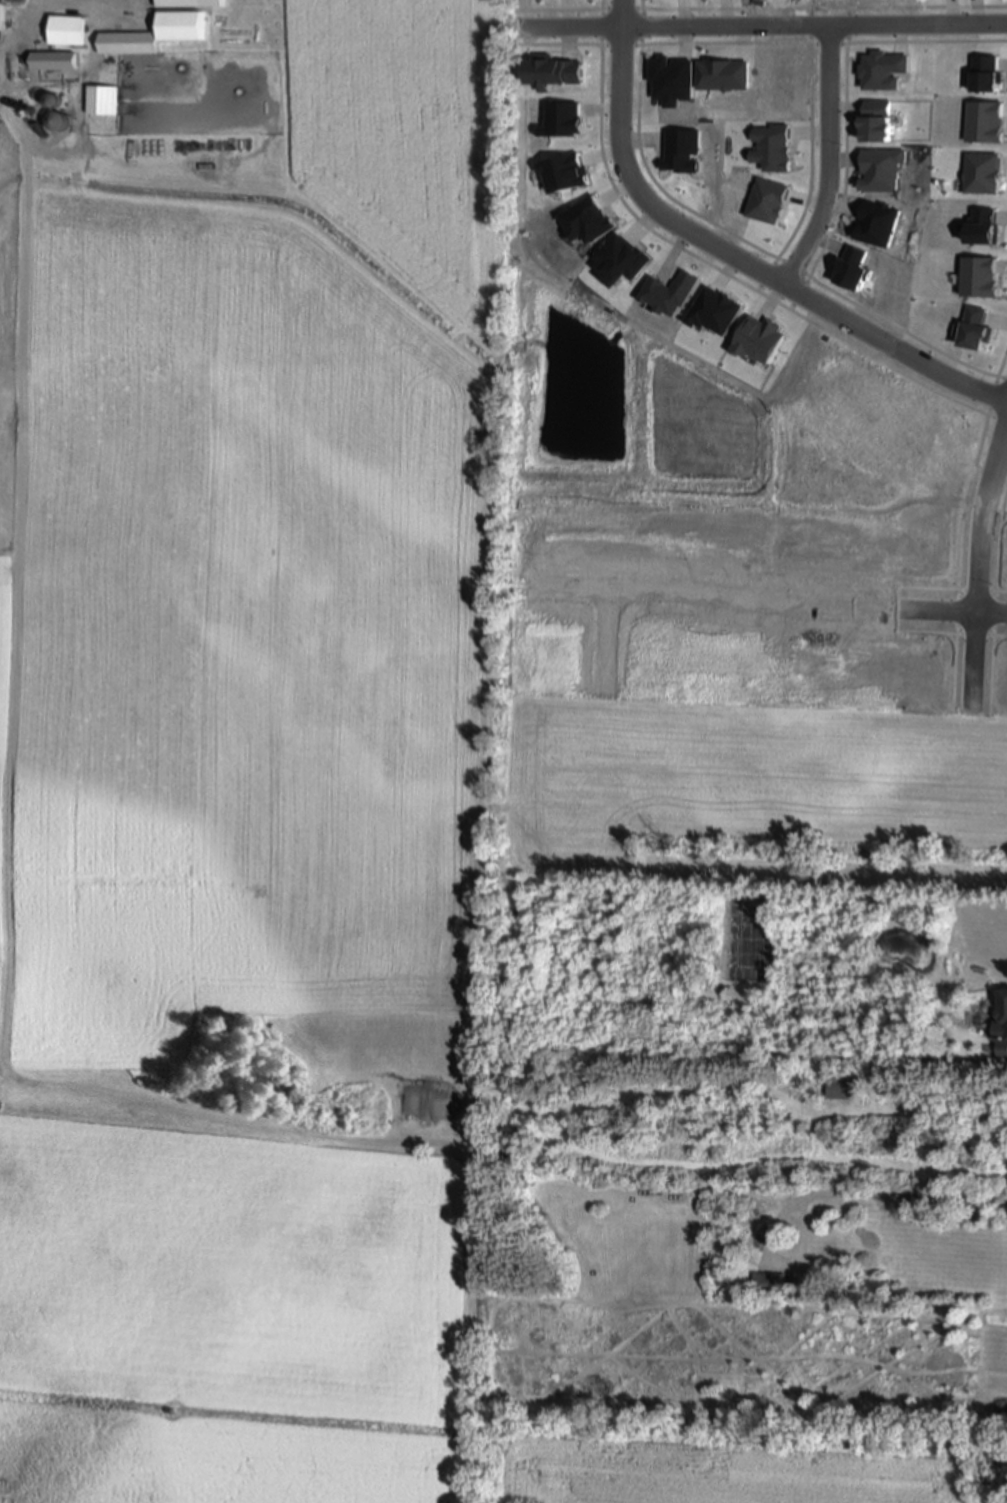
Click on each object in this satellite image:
building: (188, 2)
building: (2, 13)
building: (181, 23)
road: (766, 24)
road: (23, 25)
building: (70, 28)
building: (129, 40)
building: (54, 58)
building: (104, 98)
building: (50, 101)
building: (55, 122)
road: (825, 157)
road: (23, 163)
road: (732, 254)
park: (737, 426)
road: (980, 566)
road: (770, 602)
road: (603, 632)
crop: (257, 794)
park: (746, 940)
building: (1001, 1016)
building: (918, 1051)
building: (849, 1087)
road: (863, 1192)
building: (771, 1282)

